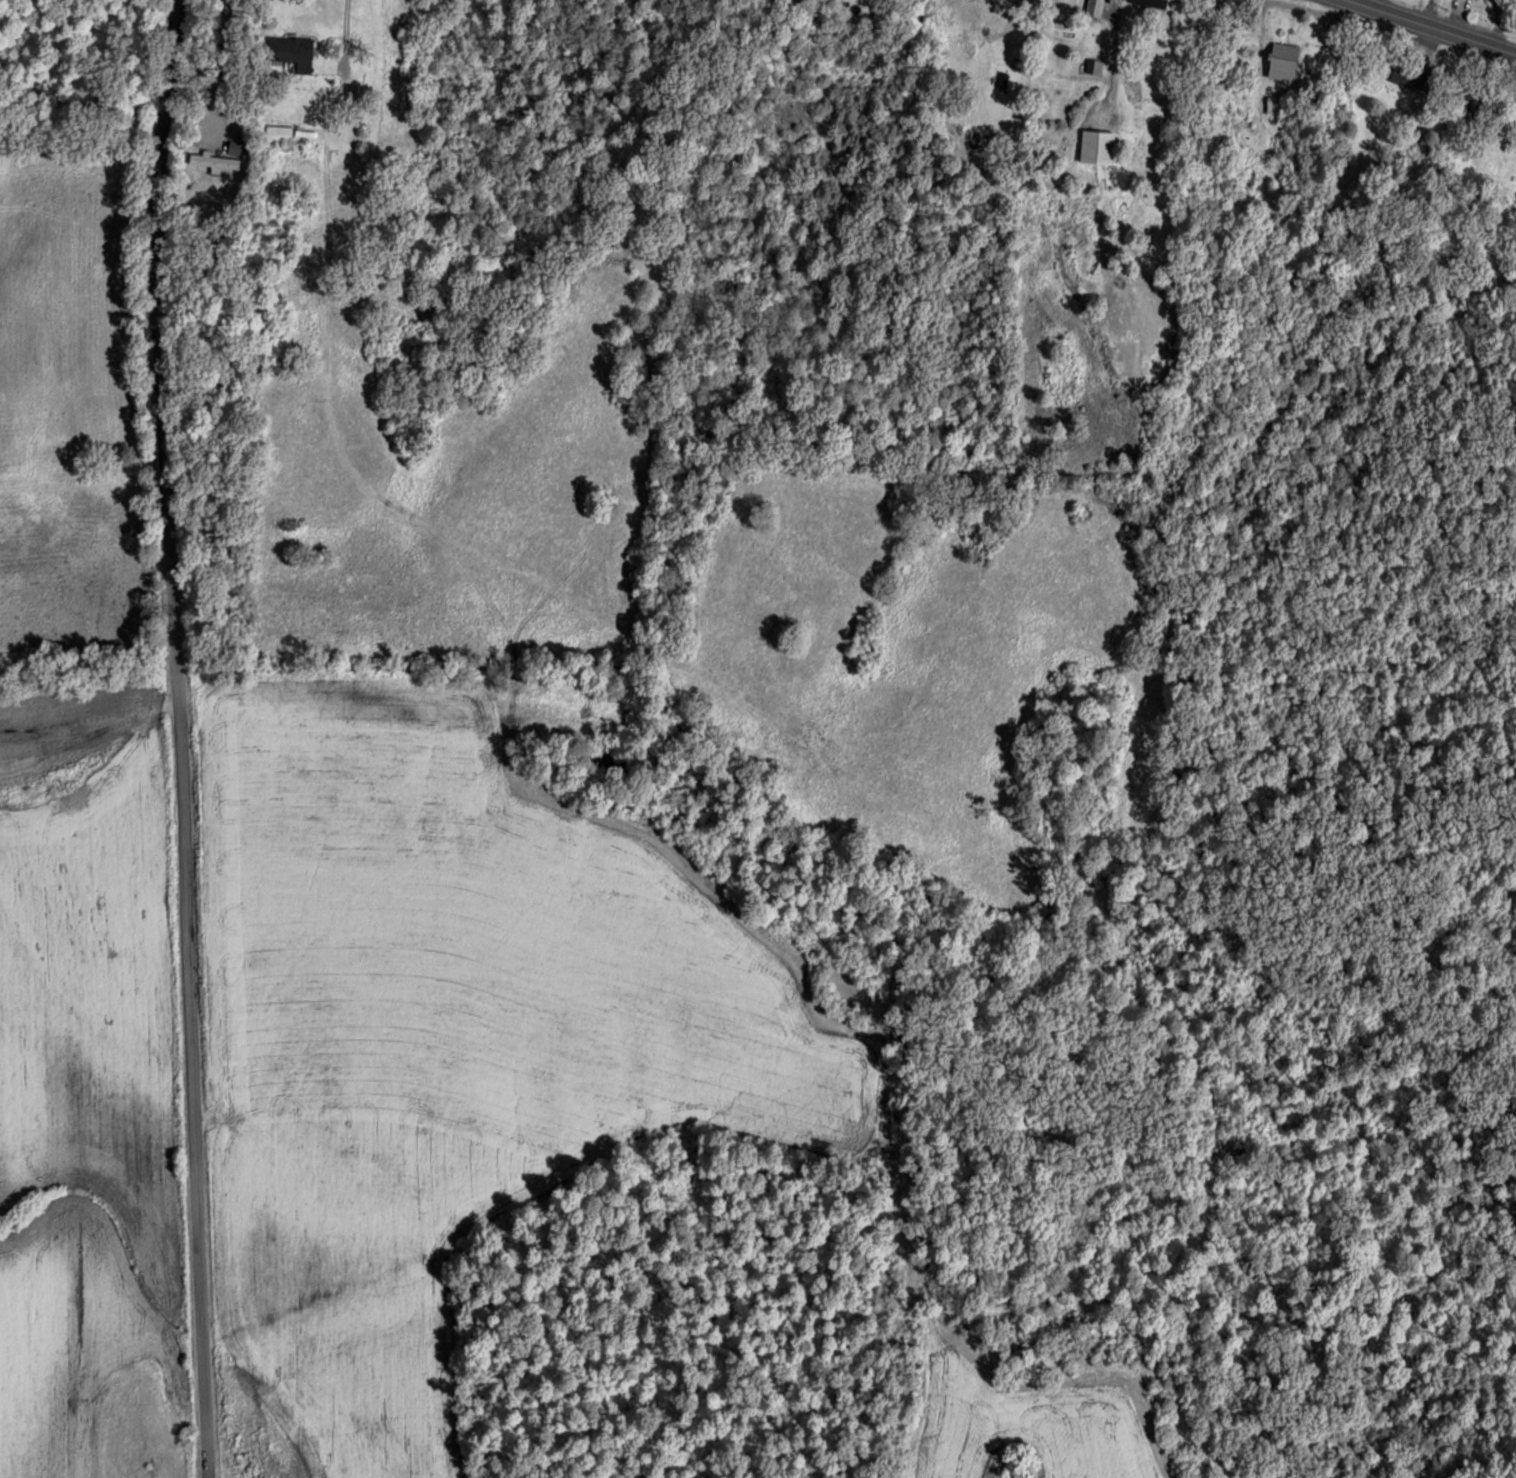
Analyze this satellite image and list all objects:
building: (1150, 2)
building: (1093, 8)
road: (1434, 26)
road: (338, 31)
building: (290, 51)
building: (1279, 56)
road: (215, 64)
building: (1406, 75)
building: (1273, 105)
building: (277, 133)
building: (1095, 147)
building: (211, 160)
road: (162, 738)

